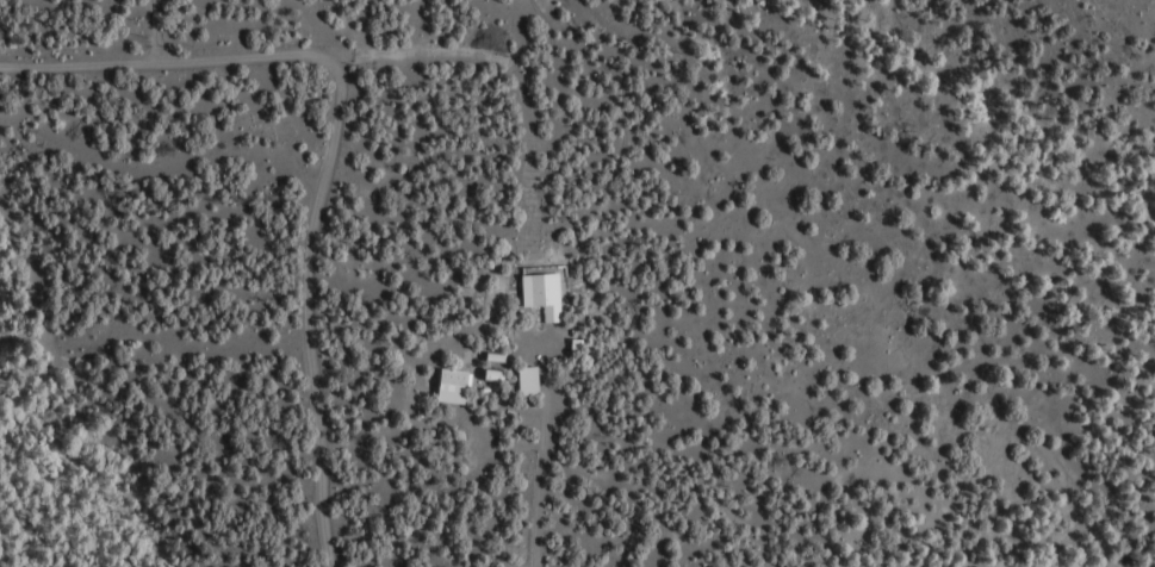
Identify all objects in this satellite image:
road: (415, 25)
road: (151, 30)
road: (166, 60)
road: (514, 68)
building: (549, 295)
road: (308, 309)
building: (501, 376)
building: (535, 381)
road: (542, 449)

